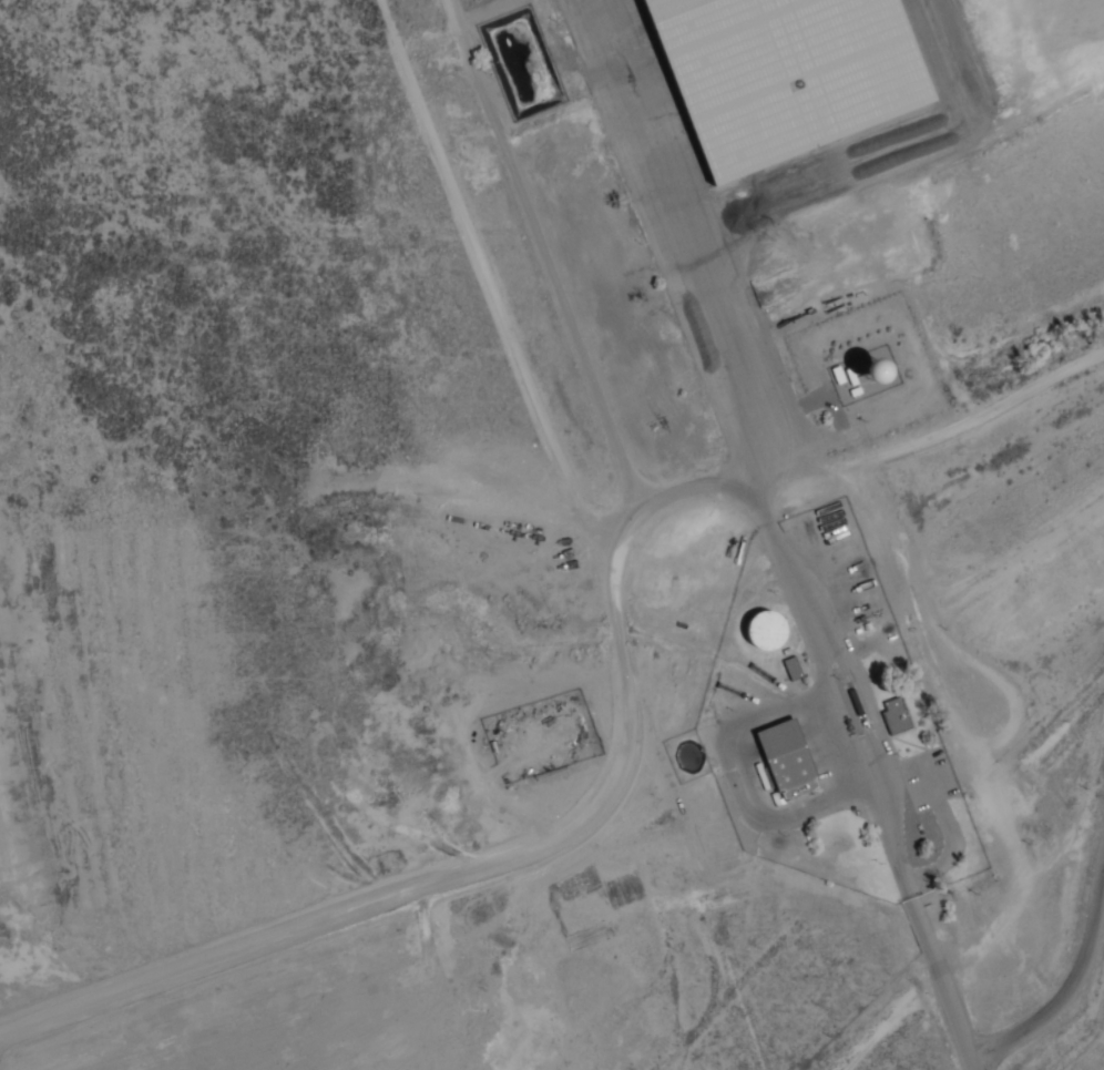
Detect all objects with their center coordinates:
building: (783, 69)
road: (564, 304)
road: (777, 534)
building: (763, 624)
storage tank: (763, 624)
building: (793, 670)
building: (897, 716)
building: (799, 755)
road: (1067, 997)

